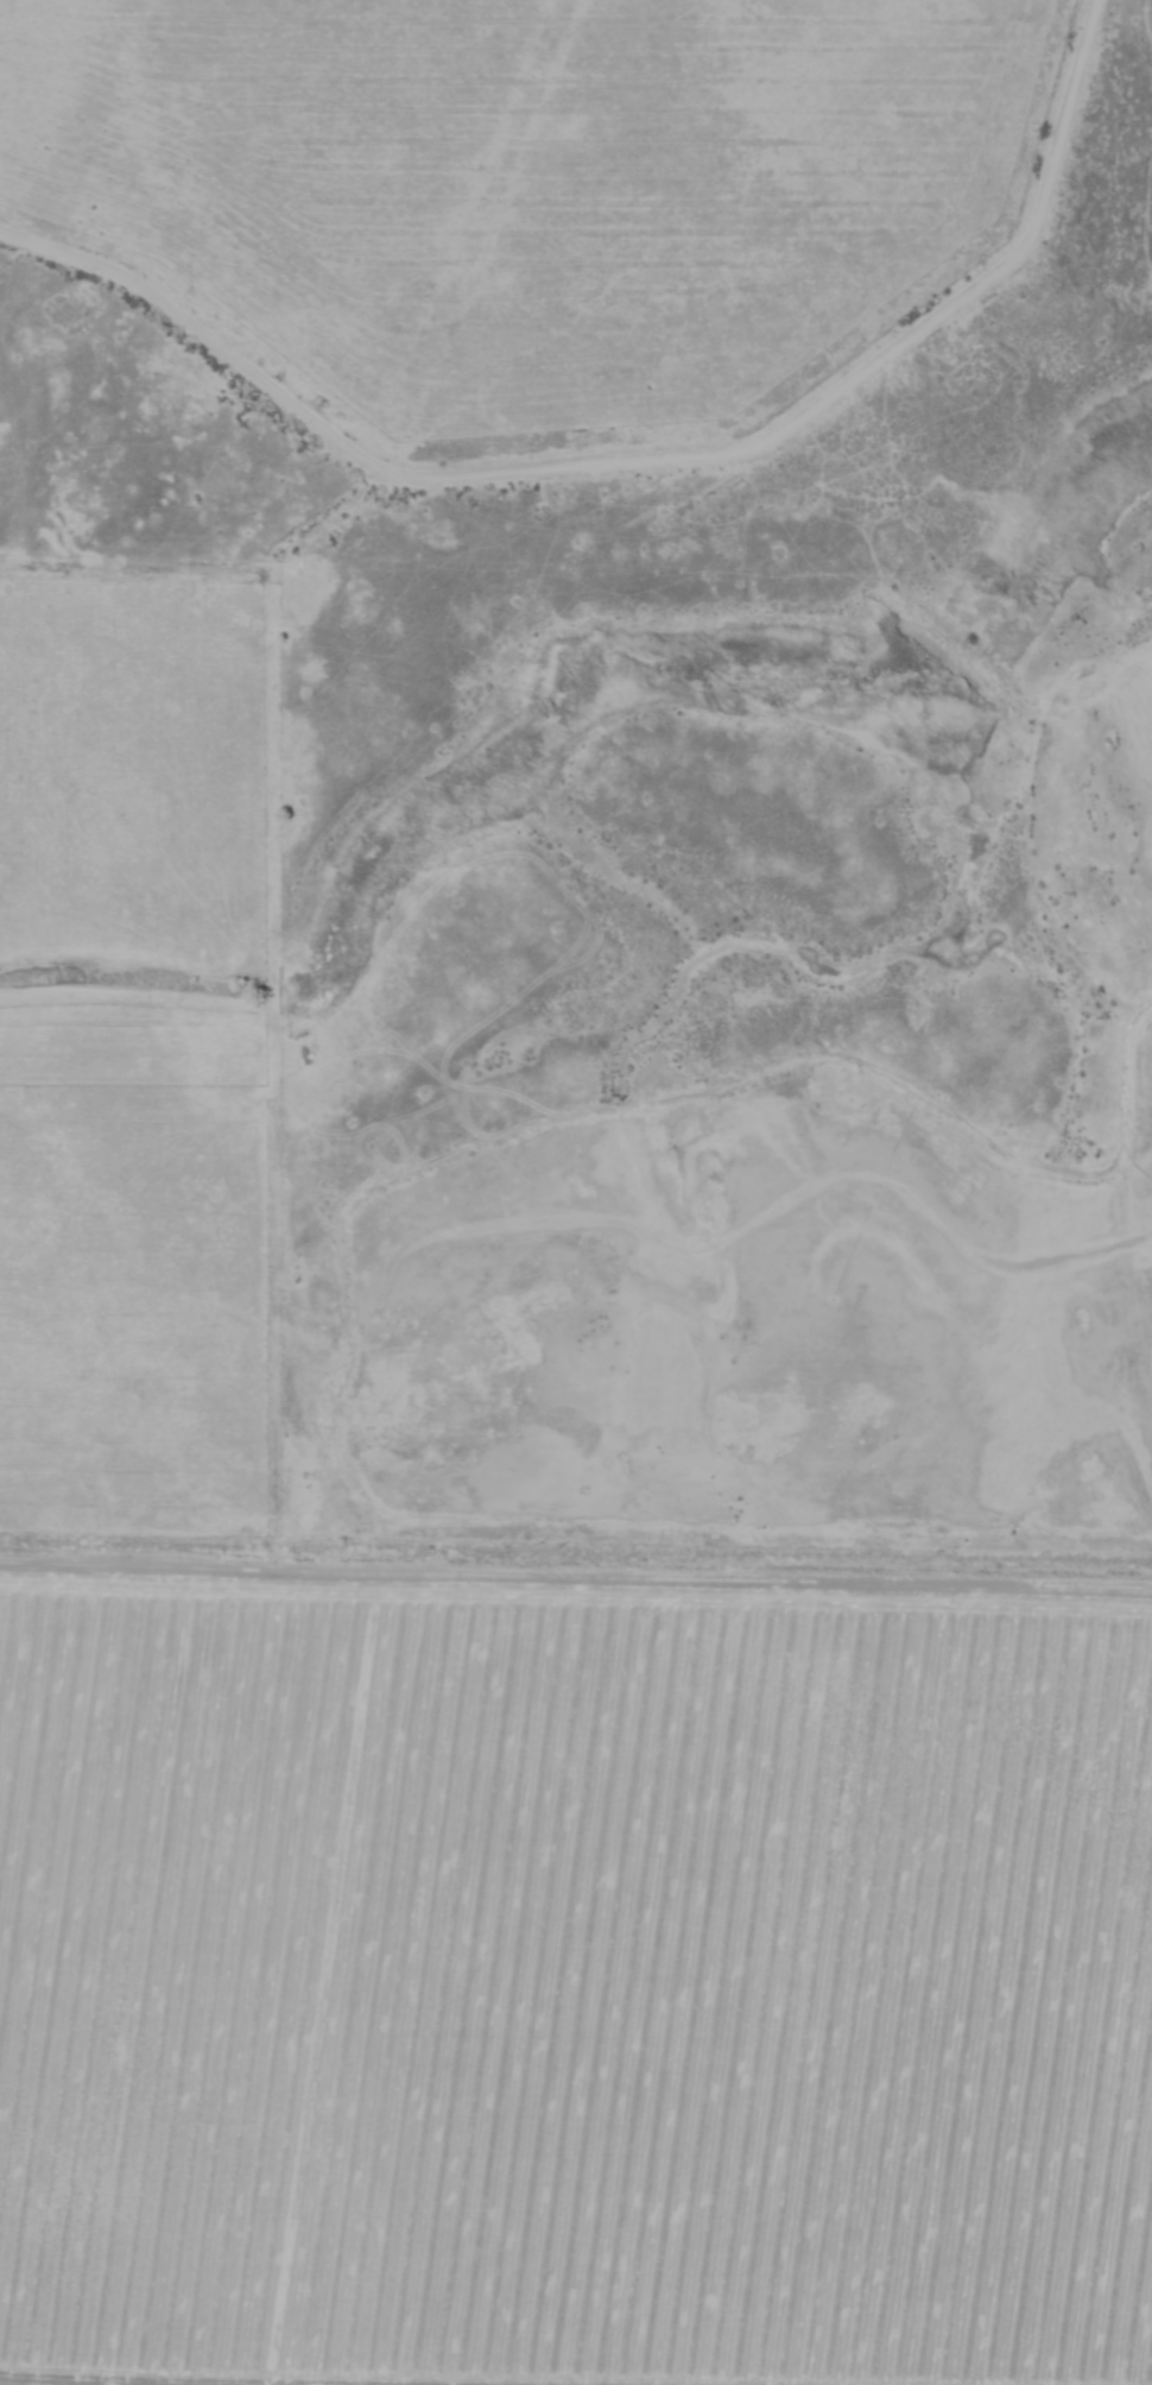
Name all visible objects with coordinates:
crop: (496, 220)
road: (455, 1592)
crop: (480, 1753)

